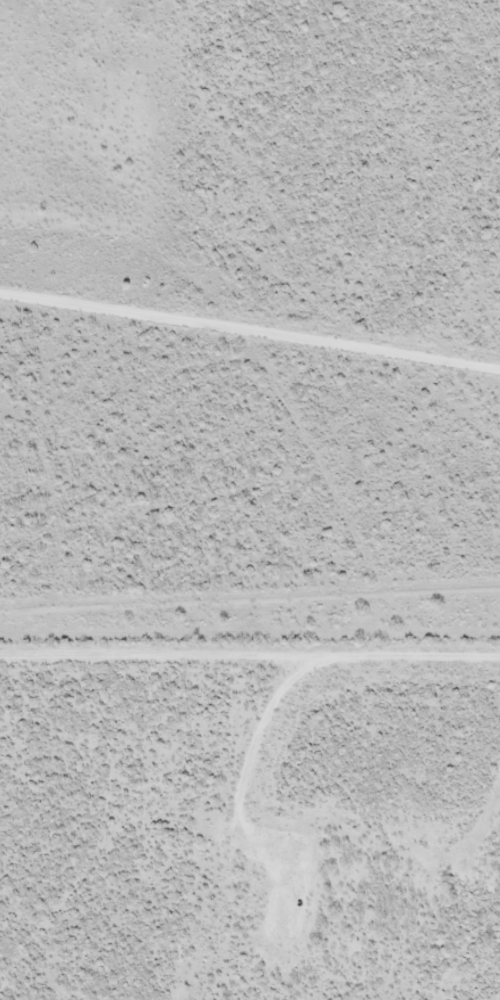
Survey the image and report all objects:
road: (250, 713)

